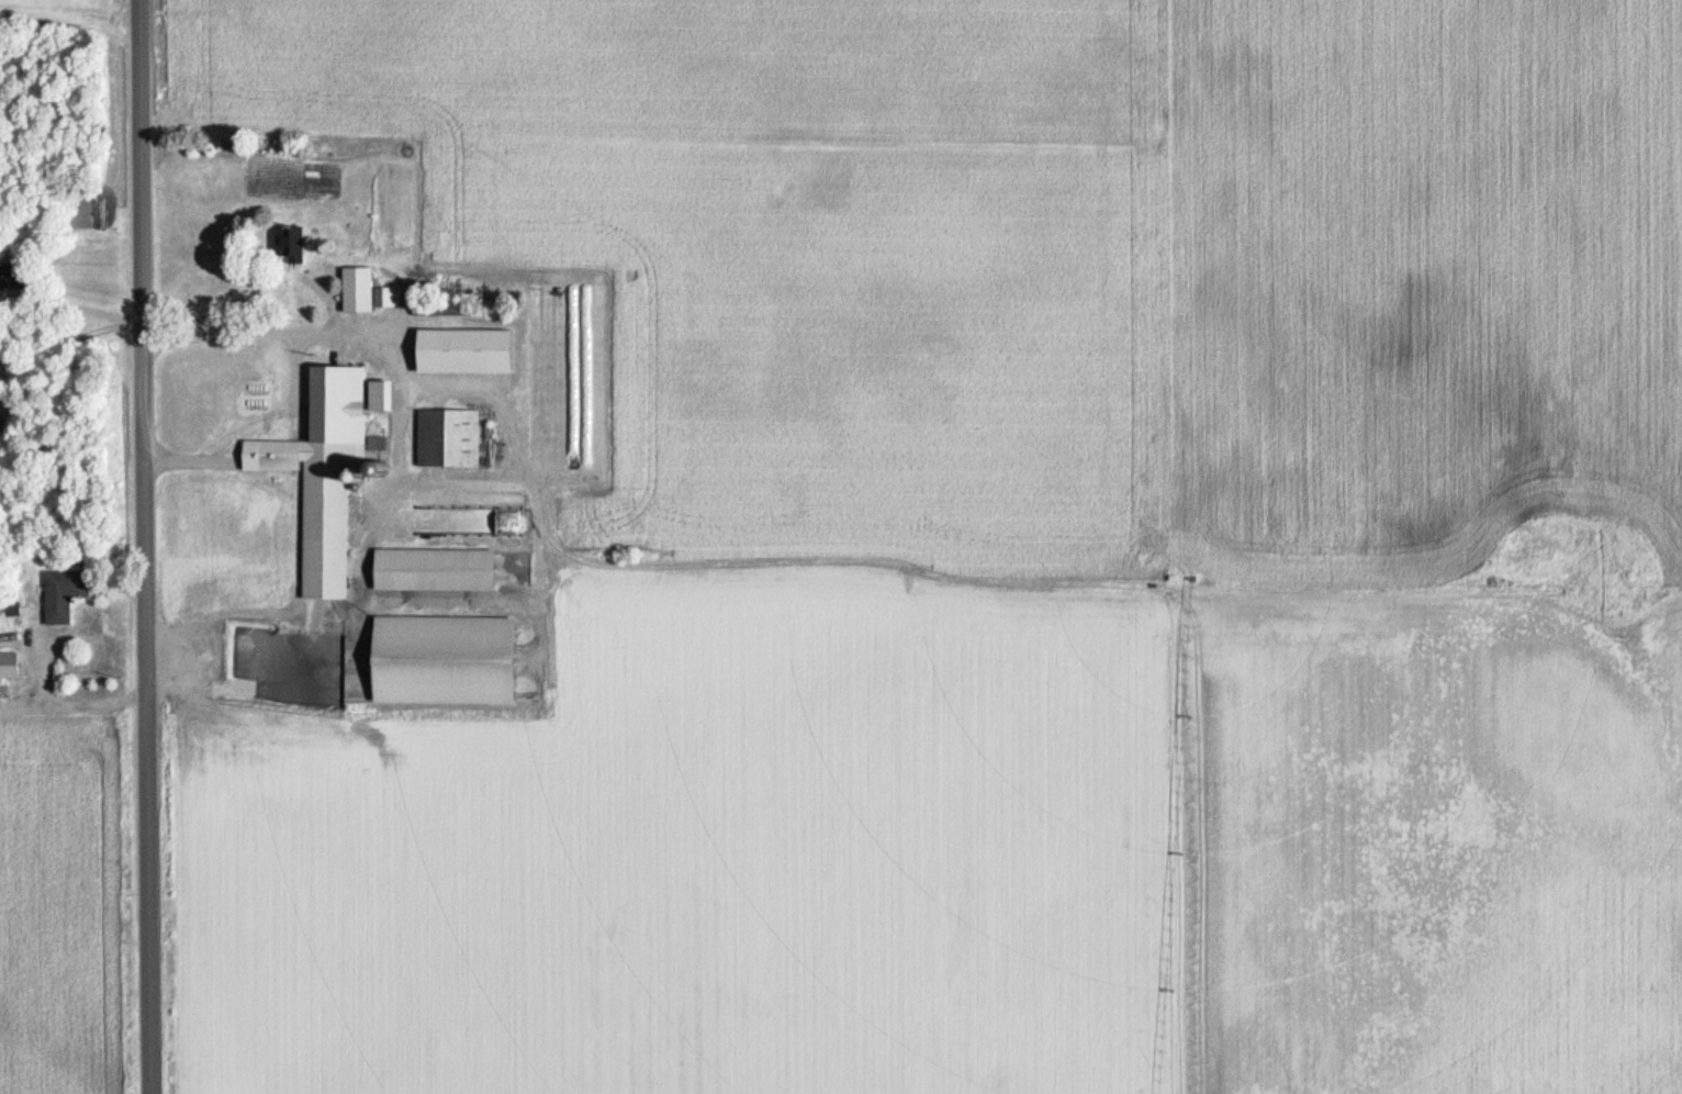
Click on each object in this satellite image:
road: (155, 121)
building: (288, 241)
building: (2, 272)
building: (362, 288)
road: (325, 293)
building: (437, 305)
road: (403, 310)
road: (137, 323)
building: (462, 349)
road: (394, 351)
road: (298, 381)
road: (301, 405)
building: (447, 436)
road: (512, 440)
road: (189, 460)
building: (321, 470)
road: (145, 546)
road: (904, 563)
building: (431, 568)
road: (122, 585)
building: (60, 591)
building: (10, 606)
road: (205, 661)
building: (7, 663)
road: (249, 685)
road: (37, 703)
road: (76, 703)

